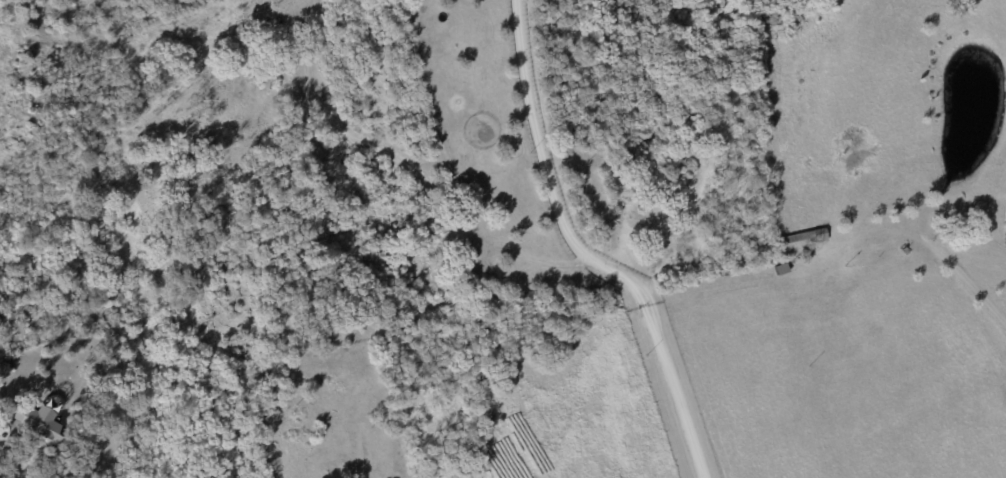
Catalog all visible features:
building: (817, 236)
road: (588, 252)
building: (33, 423)
road: (5, 452)

